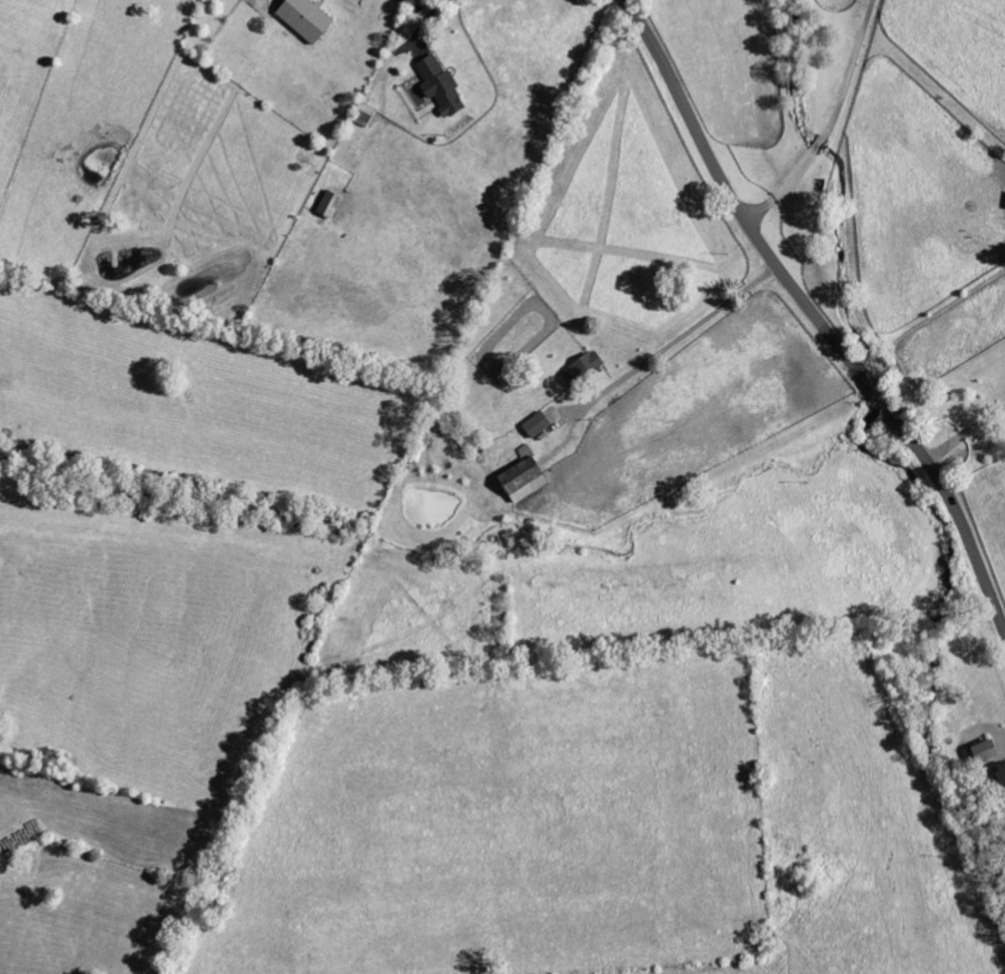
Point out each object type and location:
building: (310, 19)
road: (429, 20)
building: (443, 86)
road: (830, 124)
building: (333, 204)
road: (814, 316)
road: (679, 339)
building: (586, 369)
building: (539, 425)
road: (965, 433)
building: (528, 476)
building: (988, 751)
building: (1003, 771)

